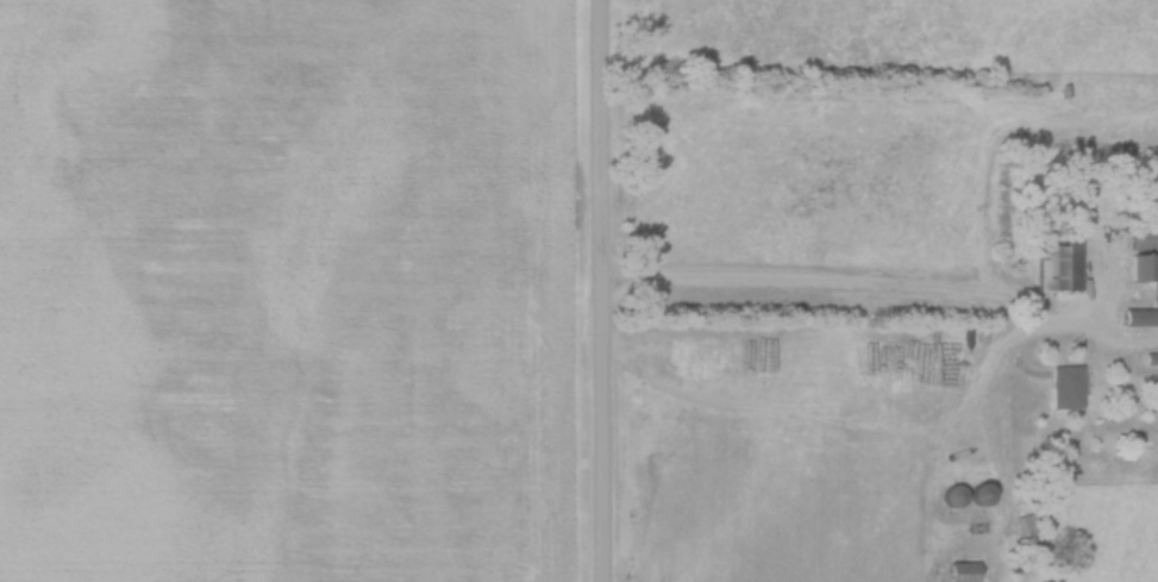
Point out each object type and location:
building: (1141, 239)
building: (1056, 265)
building: (1140, 267)
road: (601, 290)
road: (815, 290)
building: (1132, 315)
building: (1062, 387)
building: (975, 494)
building: (957, 571)

